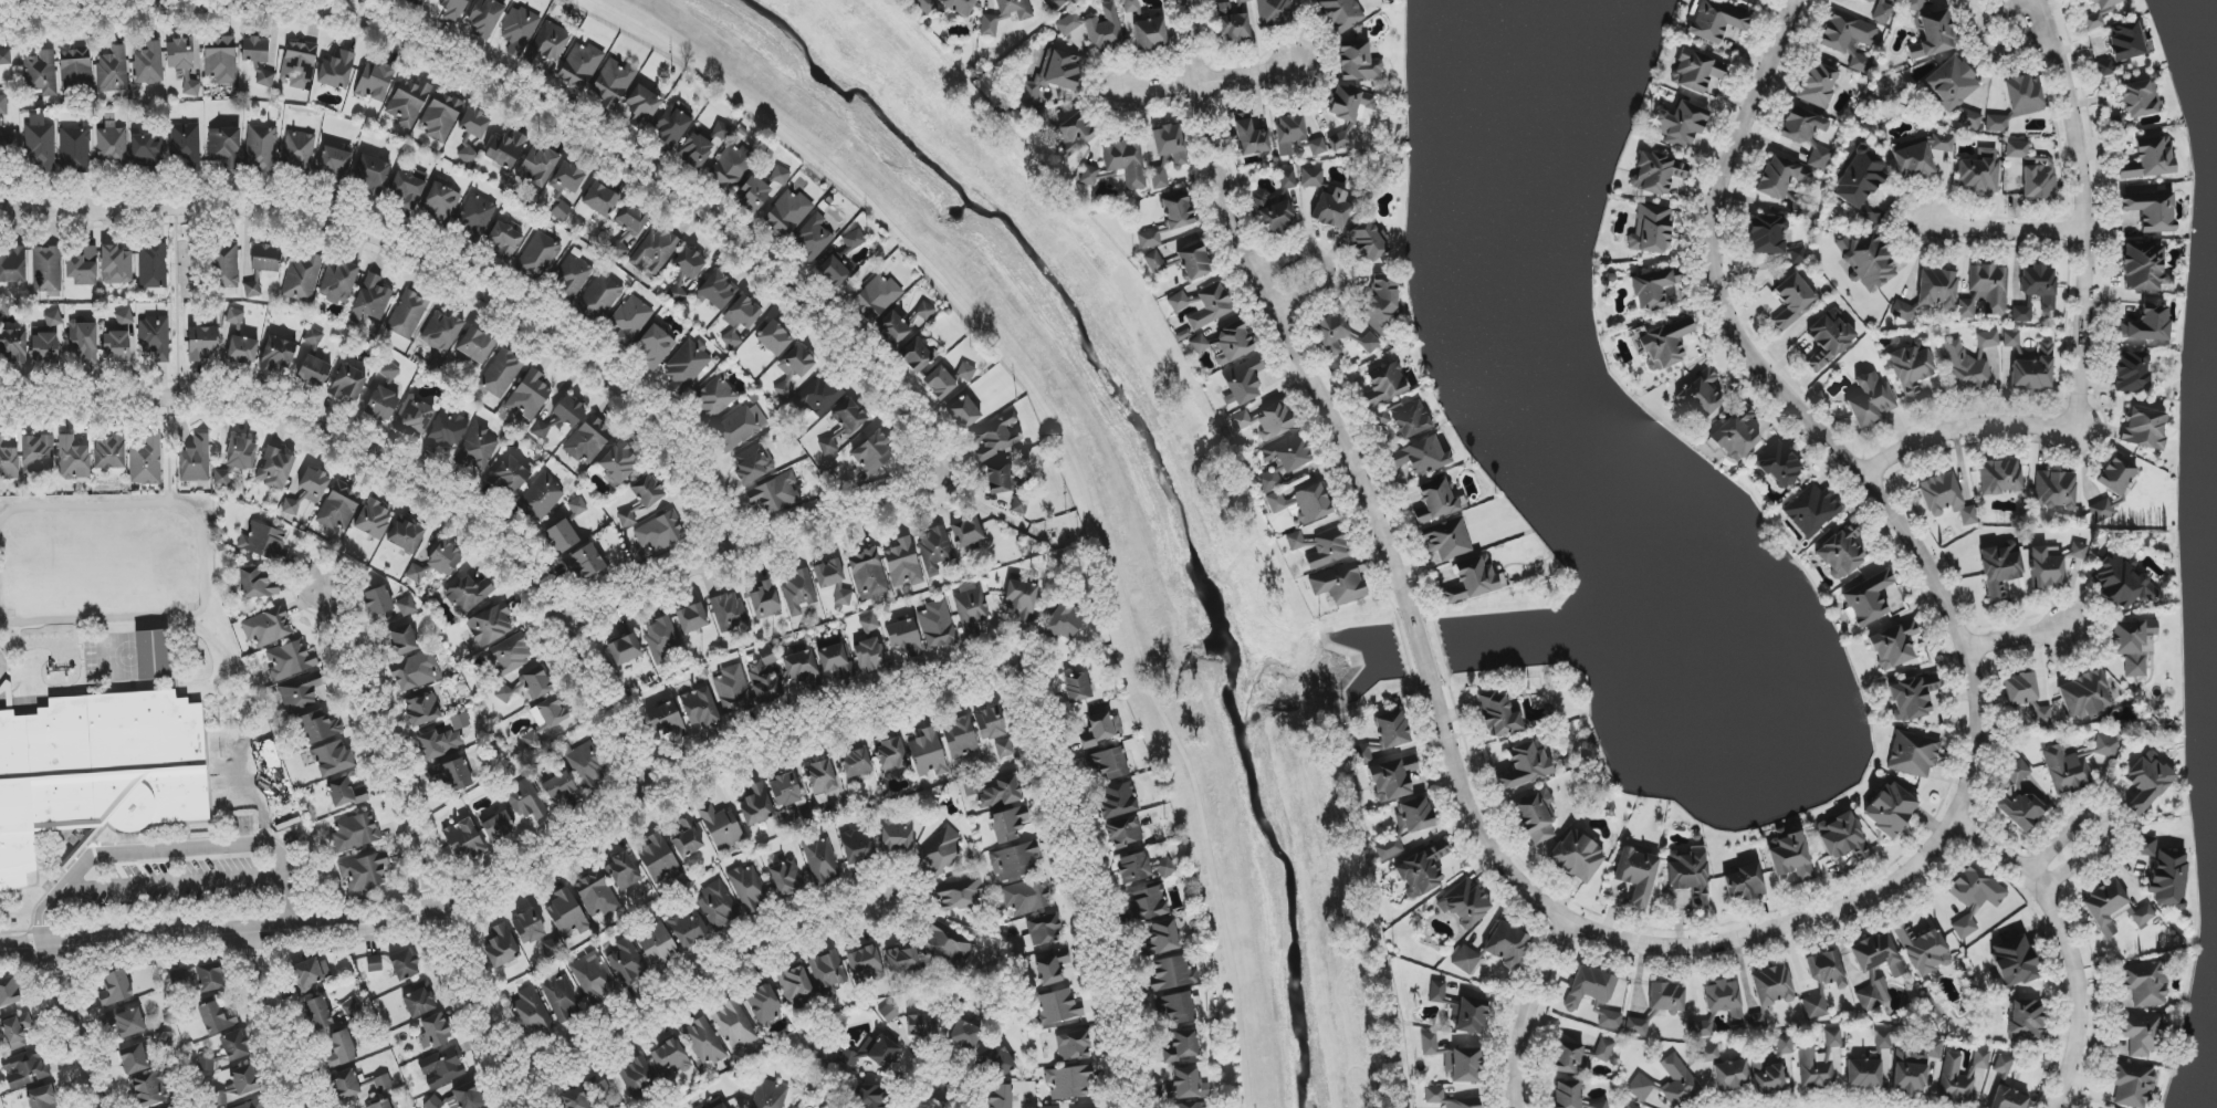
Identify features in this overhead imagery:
building: (1868, 1)
road: (251, 2)
building: (417, 2)
building: (1056, 3)
building: (1914, 4)
building: (924, 6)
building: (960, 6)
building: (452, 9)
building: (1274, 12)
building: (1340, 13)
building: (1882, 13)
building: (2099, 13)
building: (1004, 15)
building: (485, 18)
building: (1237, 21)
building: (1713, 21)
building: (1096, 28)
building: (1146, 29)
building: (519, 30)
building: (1847, 32)
building: (1933, 35)
building: (2125, 41)
road: (1984, 43)
building: (548, 44)
building: (255, 50)
building: (179, 54)
building: (4, 58)
building: (220, 60)
building: (1357, 62)
building: (1859, 63)
building: (148, 64)
building: (299, 65)
building: (581, 66)
building: (75, 69)
building: (112, 70)
building: (336, 71)
building: (1695, 71)
building: (2104, 72)
building: (41, 73)
building: (1053, 75)
building: (265, 79)
building: (375, 82)
road: (1209, 82)
building: (613, 83)
building: (1949, 84)
building: (1817, 85)
building: (2140, 98)
building: (408, 102)
building: (1349, 103)
road: (531, 106)
building: (3, 107)
building: (642, 107)
road: (2070, 115)
building: (440, 116)
building: (1969, 118)
building: (1042, 121)
building: (474, 123)
building: (1996, 123)
building: (1681, 125)
building: (1801, 126)
building: (670, 128)
building: (721, 130)
building: (1075, 134)
building: (1296, 136)
building: (1251, 138)
building: (1342, 138)
building: (1939, 142)
building: (6, 143)
building: (40, 144)
building: (185, 144)
building: (1170, 144)
building: (111, 145)
building: (223, 147)
building: (146, 148)
building: (260, 148)
building: (2017, 149)
building: (74, 150)
building: (505, 151)
building: (696, 151)
building: (297, 153)
building: (467, 155)
building: (1819, 158)
building: (2150, 159)
building: (1126, 163)
building: (1913, 163)
building: (334, 166)
building: (538, 166)
building: (731, 168)
building: (372, 173)
building: (1979, 173)
building: (1656, 174)
building: (569, 177)
building: (1159, 178)
building: (1311, 178)
building: (1781, 178)
building: (1859, 180)
building: (2038, 181)
building: (761, 188)
building: (408, 189)
building: (600, 199)
building: (441, 201)
building: (1278, 206)
building: (1332, 209)
building: (1178, 211)
building: (2151, 211)
building: (787, 213)
building: (474, 218)
building: (632, 218)
building: (1651, 229)
road: (2002, 234)
building: (1767, 236)
building: (812, 239)
building: (1148, 239)
building: (1369, 240)
building: (503, 242)
building: (656, 251)
building: (837, 255)
building: (1798, 255)
building: (538, 257)
building: (265, 258)
building: (1868, 261)
building: (1194, 262)
building: (689, 263)
building: (226, 264)
road: (421, 264)
building: (13, 265)
building: (116, 265)
building: (153, 265)
building: (2143, 266)
building: (82, 268)
building: (46, 269)
building: (572, 276)
road: (864, 278)
building: (302, 279)
building: (338, 282)
road: (1307, 283)
building: (2039, 285)
building: (1652, 289)
building: (252, 290)
building: (717, 291)
building: (1986, 291)
building: (1930, 293)
building: (876, 296)
building: (372, 297)
building: (598, 299)
building: (1792, 300)
building: (1178, 302)
building: (1379, 305)
building: (1211, 306)
road: (1285, 310)
building: (926, 311)
building: (2021, 314)
building: (407, 315)
building: (234, 316)
building: (124, 317)
building: (53, 318)
building: (739, 320)
building: (630, 321)
building: (2147, 324)
building: (441, 332)
building: (1331, 333)
building: (155, 337)
building: (313, 337)
building: (774, 338)
building: (1829, 338)
building: (2011, 338)
building: (1987, 339)
building: (84, 342)
building: (1369, 343)
building: (201, 344)
building: (1224, 344)
building: (1665, 344)
building: (13, 345)
building: (44, 345)
building: (116, 346)
building: (477, 346)
building: (655, 347)
building: (242, 351)
building: (278, 355)
building: (916, 357)
building: (687, 365)
building: (793, 369)
building: (1911, 369)
building: (1965, 369)
building: (2033, 370)
building: (314, 372)
building: (389, 372)
building: (966, 372)
building: (2132, 373)
building: (501, 374)
building: (1243, 381)
building: (348, 384)
building: (939, 384)
building: (1385, 385)
building: (819, 395)
building: (529, 396)
building: (1700, 396)
building: (713, 398)
building: (1870, 401)
building: (381, 404)
building: (568, 411)
building: (964, 412)
building: (850, 416)
building: (414, 417)
building: (1409, 418)
building: (1264, 421)
building: (739, 427)
building: (543, 428)
building: (2144, 428)
road: (2063, 430)
building: (446, 431)
building: (1734, 436)
building: (995, 438)
building: (588, 440)
building: (828, 446)
building: (477, 449)
building: (109, 452)
building: (872, 453)
building: (38, 454)
building: (1421, 457)
building: (194, 458)
building: (73, 459)
building: (146, 461)
road: (1077, 461)
building: (1283, 461)
building: (8, 462)
building: (752, 463)
building: (618, 464)
building: (1779, 464)
building: (274, 468)
road: (394, 470)
building: (509, 475)
building: (2116, 475)
building: (2000, 477)
building: (998, 480)
building: (2054, 490)
building: (306, 491)
building: (647, 491)
building: (775, 493)
building: (540, 499)
building: (1945, 499)
building: (1276, 501)
building: (1435, 502)
building: (1311, 503)
building: (1019, 505)
building: (338, 506)
building: (577, 506)
building: (2103, 509)
building: (1811, 510)
building: (629, 516)
building: (373, 520)
building: (406, 534)
building: (658, 534)
building: (966, 534)
building: (562, 536)
building: (1449, 539)
building: (261, 540)
road: (753, 544)
building: (1321, 547)
building: (934, 550)
building: (1841, 552)
building: (437, 563)
building: (584, 563)
building: (903, 564)
building: (2052, 564)
building: (1999, 571)
building: (868, 574)
building: (834, 579)
building: (1472, 581)
road: (1934, 582)
building: (255, 584)
building: (1339, 584)
building: (797, 590)
building: (468, 594)
building: (1866, 599)
building: (1022, 600)
building: (378, 602)
building: (764, 602)
building: (407, 607)
building: (971, 609)
building: (730, 614)
building: (691, 618)
building: (1064, 623)
building: (870, 624)
building: (490, 625)
building: (938, 626)
building: (268, 627)
building: (904, 637)
building: (661, 639)
building: (404, 640)
road: (2017, 640)
building: (1893, 645)
building: (2133, 645)
building: (625, 649)
road: (1422, 650)
building: (154, 655)
building: (511, 655)
building: (871, 655)
building: (836, 658)
building: (291, 660)
building: (801, 667)
building: (415, 671)
building: (535, 683)
building: (1077, 687)
building: (2020, 689)
building: (733, 690)
building: (301, 692)
building: (503, 693)
building: (2084, 696)
building: (1912, 697)
building: (700, 708)
building: (422, 710)
building: (1499, 715)
building: (2042, 715)
building: (459, 721)
building: (666, 721)
building: (990, 724)
building: (318, 727)
building: (1097, 730)
building: (1392, 730)
building: (960, 738)
building: (439, 743)
building: (2105, 746)
building: (1004, 749)
building: (928, 753)
building: (1913, 754)
building: (891, 755)
building: (333, 759)
building: (857, 762)
building: (1108, 763)
building: (586, 764)
building: (1525, 765)
building: (98, 769)
building: (2066, 770)
building: (822, 777)
building: (448, 778)
building: (1392, 778)
building: (2146, 782)
building: (558, 790)
building: (785, 790)
building: (345, 793)
building: (996, 793)
building: (2019, 799)
building: (526, 801)
building: (1117, 802)
building: (756, 805)
building: (1890, 809)
building: (1413, 817)
building: (1535, 819)
road: (1481, 820)
building: (1007, 825)
road: (2101, 825)
building: (498, 826)
building: (721, 827)
building: (897, 832)
building: (1126, 832)
building: (355, 833)
building: (688, 837)
building: (1842, 837)
building: (463, 839)
building: (2144, 846)
building: (857, 847)
road: (421, 849)
building: (1389, 849)
road: (174, 850)
building: (942, 850)
building: (1577, 857)
building: (1790, 857)
building: (658, 859)
building: (820, 859)
building: (1015, 861)
road: (1059, 861)
building: (1133, 867)
building: (1165, 868)
building: (1422, 870)
building: (624, 871)
building: (364, 872)
building: (1636, 875)
building: (786, 877)
building: (1690, 877)
road: (501, 878)
building: (2168, 878)
road: (179, 881)
building: (1744, 884)
building: (749, 888)
building: (959, 895)
building: (597, 896)
building: (1025, 897)
building: (1974, 897)
building: (1148, 903)
building: (1464, 903)
building: (718, 905)
building: (2104, 907)
building: (566, 912)
building: (2143, 916)
building: (689, 926)
building: (529, 927)
building: (1045, 930)
building: (1161, 939)
road: (2066, 943)
building: (657, 944)
building: (948, 944)
building: (1506, 944)
building: (502, 945)
building: (1923, 950)
building: (1876, 954)
building: (1466, 960)
building: (901, 961)
building: (2014, 962)
building: (626, 963)
building: (374, 964)
building: (404, 964)
building: (865, 964)
road: (694, 966)
building: (1050, 968)
building: (1826, 969)
building: (829, 971)
building: (1172, 974)
building: (305, 975)
building: (178, 978)
building: (209, 978)
building: (593, 979)
building: (2145, 983)
building: (795, 984)
building: (1771, 986)
building: (1589, 987)
building: (115, 989)
building: (9, 992)
building: (1436, 992)
building: (1666, 996)
building: (562, 997)
building: (1724, 1000)
building: (419, 1003)
building: (764, 1003)
building: (1057, 1007)
building: (1177, 1007)
building: (1815, 1007)
building: (532, 1011)
building: (317, 1013)
building: (888, 1013)
road: (1531, 1013)
building: (1470, 1016)
building: (217, 1017)
road: (255, 1018)
building: (1610, 1020)
building: (1757, 1020)
building: (2026, 1020)
building: (126, 1022)
road: (69, 1025)
building: (734, 1025)
building: (922, 1025)
building: (1636, 1026)
building: (17, 1031)
building: (435, 1032)
building: (2142, 1033)
building: (964, 1035)
building: (164, 1039)
building: (704, 1043)
building: (234, 1045)
building: (1073, 1046)
building: (1181, 1046)
building: (339, 1050)
building: (1603, 1050)
building: (880, 1052)
building: (1709, 1054)
building: (849, 1058)
building: (134, 1059)
building: (671, 1059)
building: (1454, 1059)
building: (1571, 1059)
building: (995, 1060)
building: (1821, 1063)
building: (2001, 1065)
building: (442, 1067)
building: (1914, 1067)
building: (24, 1068)
building: (1772, 1068)
building: (1730, 1075)
building: (1960, 1076)
building: (638, 1078)
building: (244, 1079)
building: (1068, 1081)
building: (1677, 1081)
building: (383, 1083)
building: (345, 1084)
building: (1186, 1085)
building: (2132, 1085)
building: (1640, 1087)
building: (151, 1089)
road: (919, 1089)
building: (1434, 1093)
building: (588, 1095)
building: (770, 1095)
building: (1568, 1095)
building: (468, 1096)
building: (1000, 1096)
building: (872, 1097)
building: (42, 1098)
building: (2008, 1098)
building: (435, 1102)
building: (255, 1104)
building: (713, 1104)
building: (380, 1105)
building: (1192, 1105)
building: (1599, 1105)
building: (182, 1106)
building: (1631, 1106)

